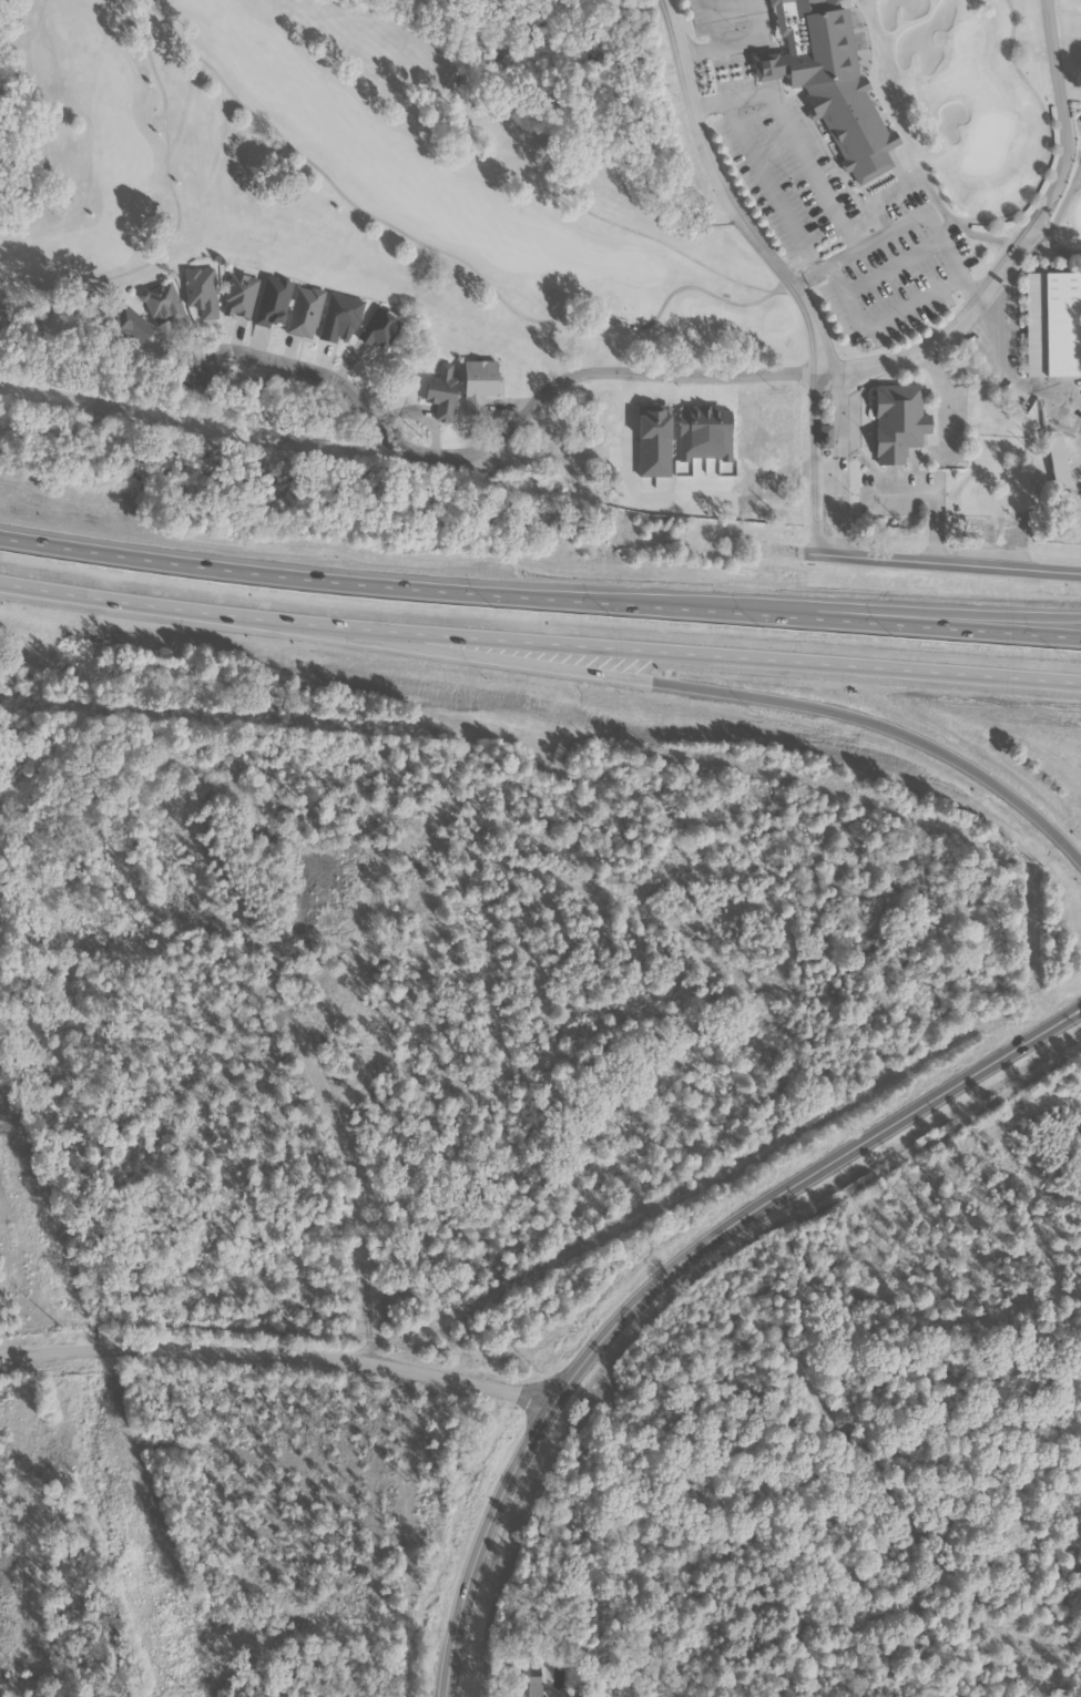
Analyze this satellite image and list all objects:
building: (827, 82)
park: (973, 100)
park: (1080, 112)
road: (1049, 136)
road: (319, 170)
road: (1075, 176)
park: (348, 182)
road: (722, 182)
road: (180, 211)
park: (1078, 213)
road: (1053, 224)
road: (971, 232)
road: (904, 233)
road: (660, 239)
road: (1020, 243)
building: (197, 288)
building: (237, 294)
building: (273, 300)
road: (733, 301)
building: (161, 305)
building: (304, 310)
building: (340, 318)
building: (1050, 324)
building: (126, 325)
building: (378, 329)
building: (478, 384)
building: (442, 393)
building: (894, 421)
building: (823, 437)
building: (654, 440)
road: (487, 447)
road: (836, 447)
road: (815, 448)
building: (1053, 460)
road: (947, 563)
road: (539, 596)
road: (958, 616)
road: (539, 642)
road: (676, 684)
road: (669, 1272)
road: (277, 1358)
building: (528, 1684)

